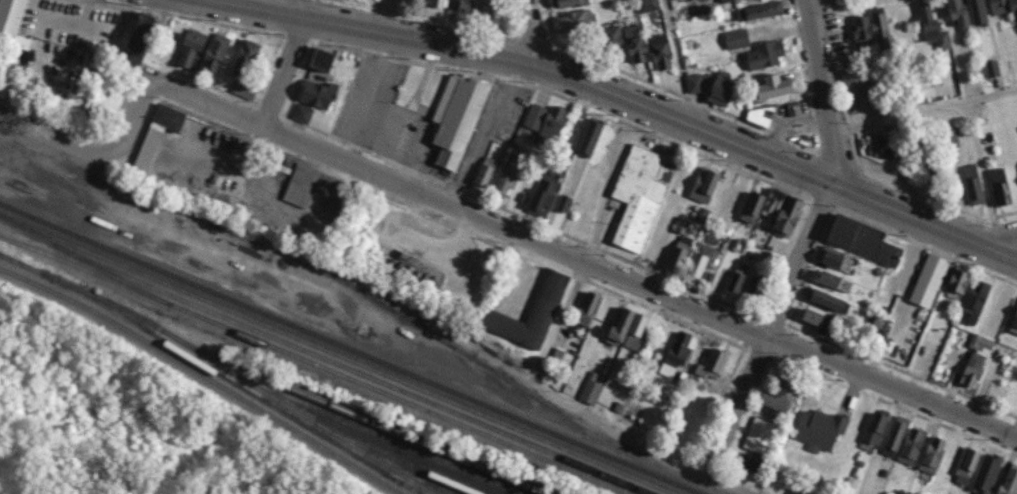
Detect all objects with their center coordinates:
building: (371, 1)
building: (726, 1)
building: (756, 1)
building: (415, 2)
building: (445, 5)
building: (649, 5)
building: (577, 6)
building: (999, 6)
building: (472, 7)
building: (485, 8)
building: (1014, 9)
building: (499, 10)
building: (760, 11)
building: (959, 13)
building: (775, 14)
building: (18, 20)
building: (149, 28)
building: (579, 28)
building: (933, 29)
building: (882, 30)
building: (862, 32)
building: (615, 36)
road: (543, 38)
building: (737, 39)
building: (635, 40)
road: (957, 49)
building: (211, 52)
building: (661, 53)
building: (777, 55)
building: (253, 59)
building: (333, 61)
road: (677, 62)
road: (286, 69)
building: (700, 82)
building: (855, 82)
building: (777, 87)
building: (244, 90)
building: (792, 91)
building: (731, 92)
road: (600, 94)
building: (323, 98)
road: (143, 105)
building: (794, 108)
road: (922, 110)
building: (303, 113)
building: (461, 119)
building: (769, 119)
building: (548, 120)
road: (486, 140)
building: (958, 140)
building: (163, 147)
road: (68, 173)
building: (492, 173)
road: (983, 174)
building: (514, 177)
building: (714, 184)
building: (974, 184)
building: (326, 190)
building: (1007, 191)
building: (551, 197)
building: (641, 200)
road: (603, 201)
building: (766, 205)
building: (797, 219)
building: (682, 225)
building: (694, 227)
road: (803, 235)
building: (876, 241)
road: (1005, 247)
building: (678, 257)
railway: (83, 259)
building: (701, 261)
building: (845, 261)
building: (690, 262)
building: (712, 270)
road: (600, 274)
building: (738, 278)
building: (749, 280)
building: (935, 281)
building: (959, 281)
building: (845, 282)
building: (972, 285)
building: (756, 286)
building: (766, 290)
railway: (65, 293)
building: (835, 299)
building: (986, 301)
building: (976, 302)
building: (588, 309)
building: (530, 310)
building: (1011, 310)
building: (597, 313)
building: (818, 321)
building: (1015, 325)
building: (621, 326)
building: (636, 330)
railway: (350, 348)
building: (689, 352)
railway: (339, 353)
building: (676, 355)
building: (976, 360)
building: (713, 363)
railway: (315, 364)
railway: (486, 366)
building: (726, 366)
railway: (213, 368)
railway: (350, 370)
building: (984, 372)
building: (600, 388)
building: (591, 390)
building: (789, 394)
road: (566, 406)
railway: (341, 408)
railway: (264, 411)
building: (827, 427)
building: (875, 428)
building: (883, 431)
railway: (360, 434)
building: (767, 435)
building: (896, 436)
building: (902, 440)
building: (912, 446)
building: (924, 449)
building: (933, 455)
building: (944, 456)
building: (966, 466)
building: (975, 469)
railway: (396, 470)
road: (724, 481)
building: (1014, 487)

